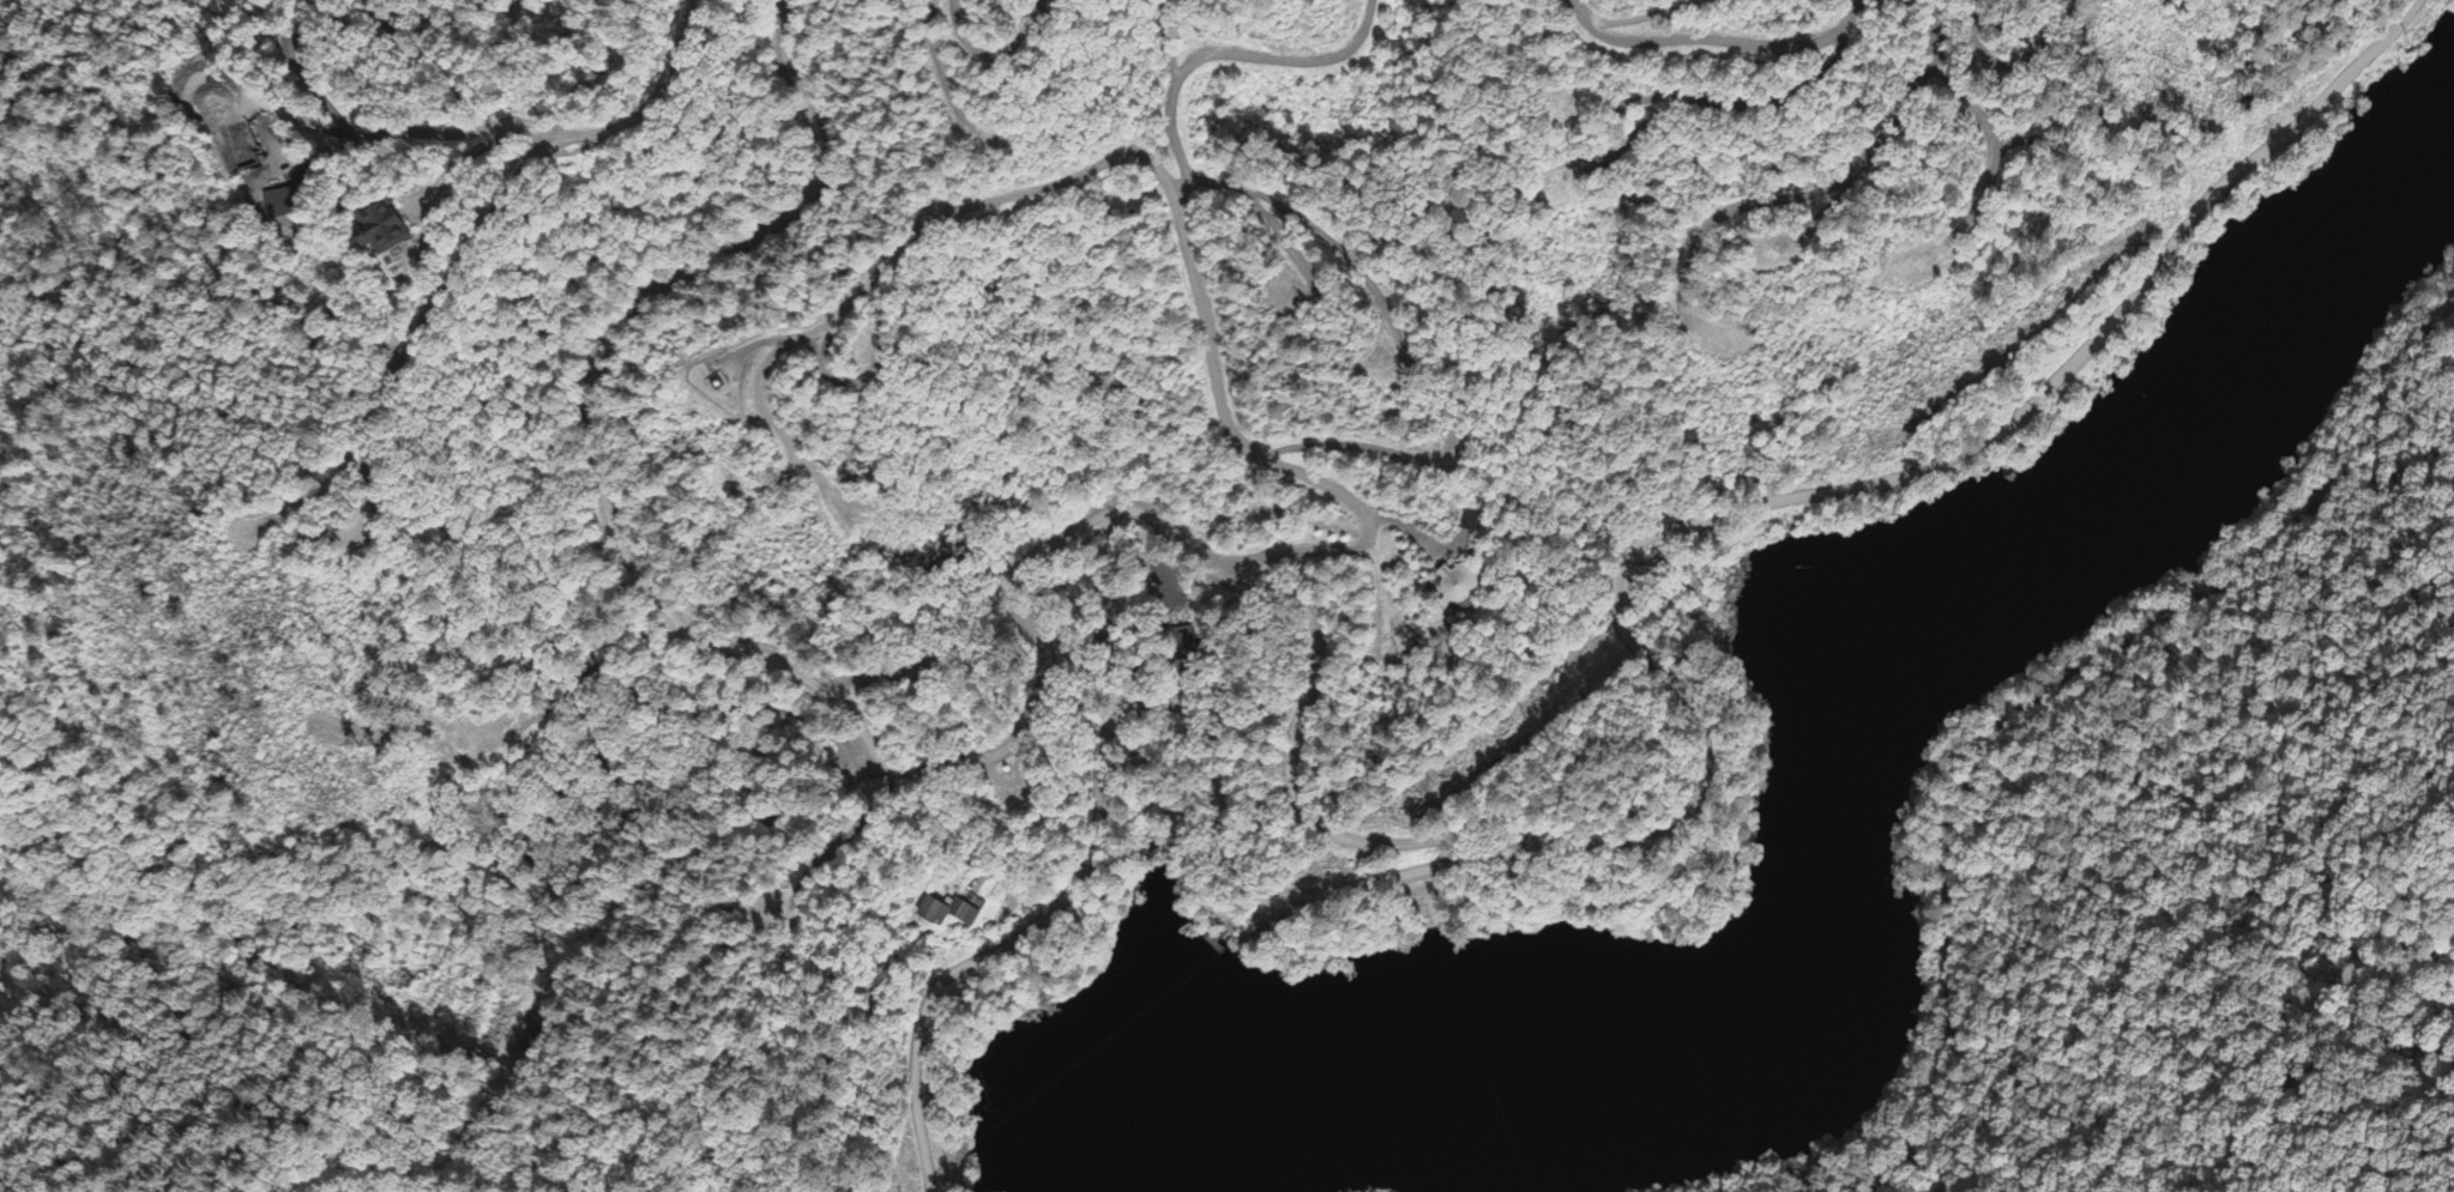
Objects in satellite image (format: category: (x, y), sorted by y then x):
road: (1717, 37)
road: (1006, 53)
road: (549, 133)
road: (1855, 161)
building: (381, 231)
road: (905, 246)
road: (1200, 301)
building: (1461, 587)
road: (2000, 724)
road: (931, 773)
road: (1694, 815)
building: (949, 915)

